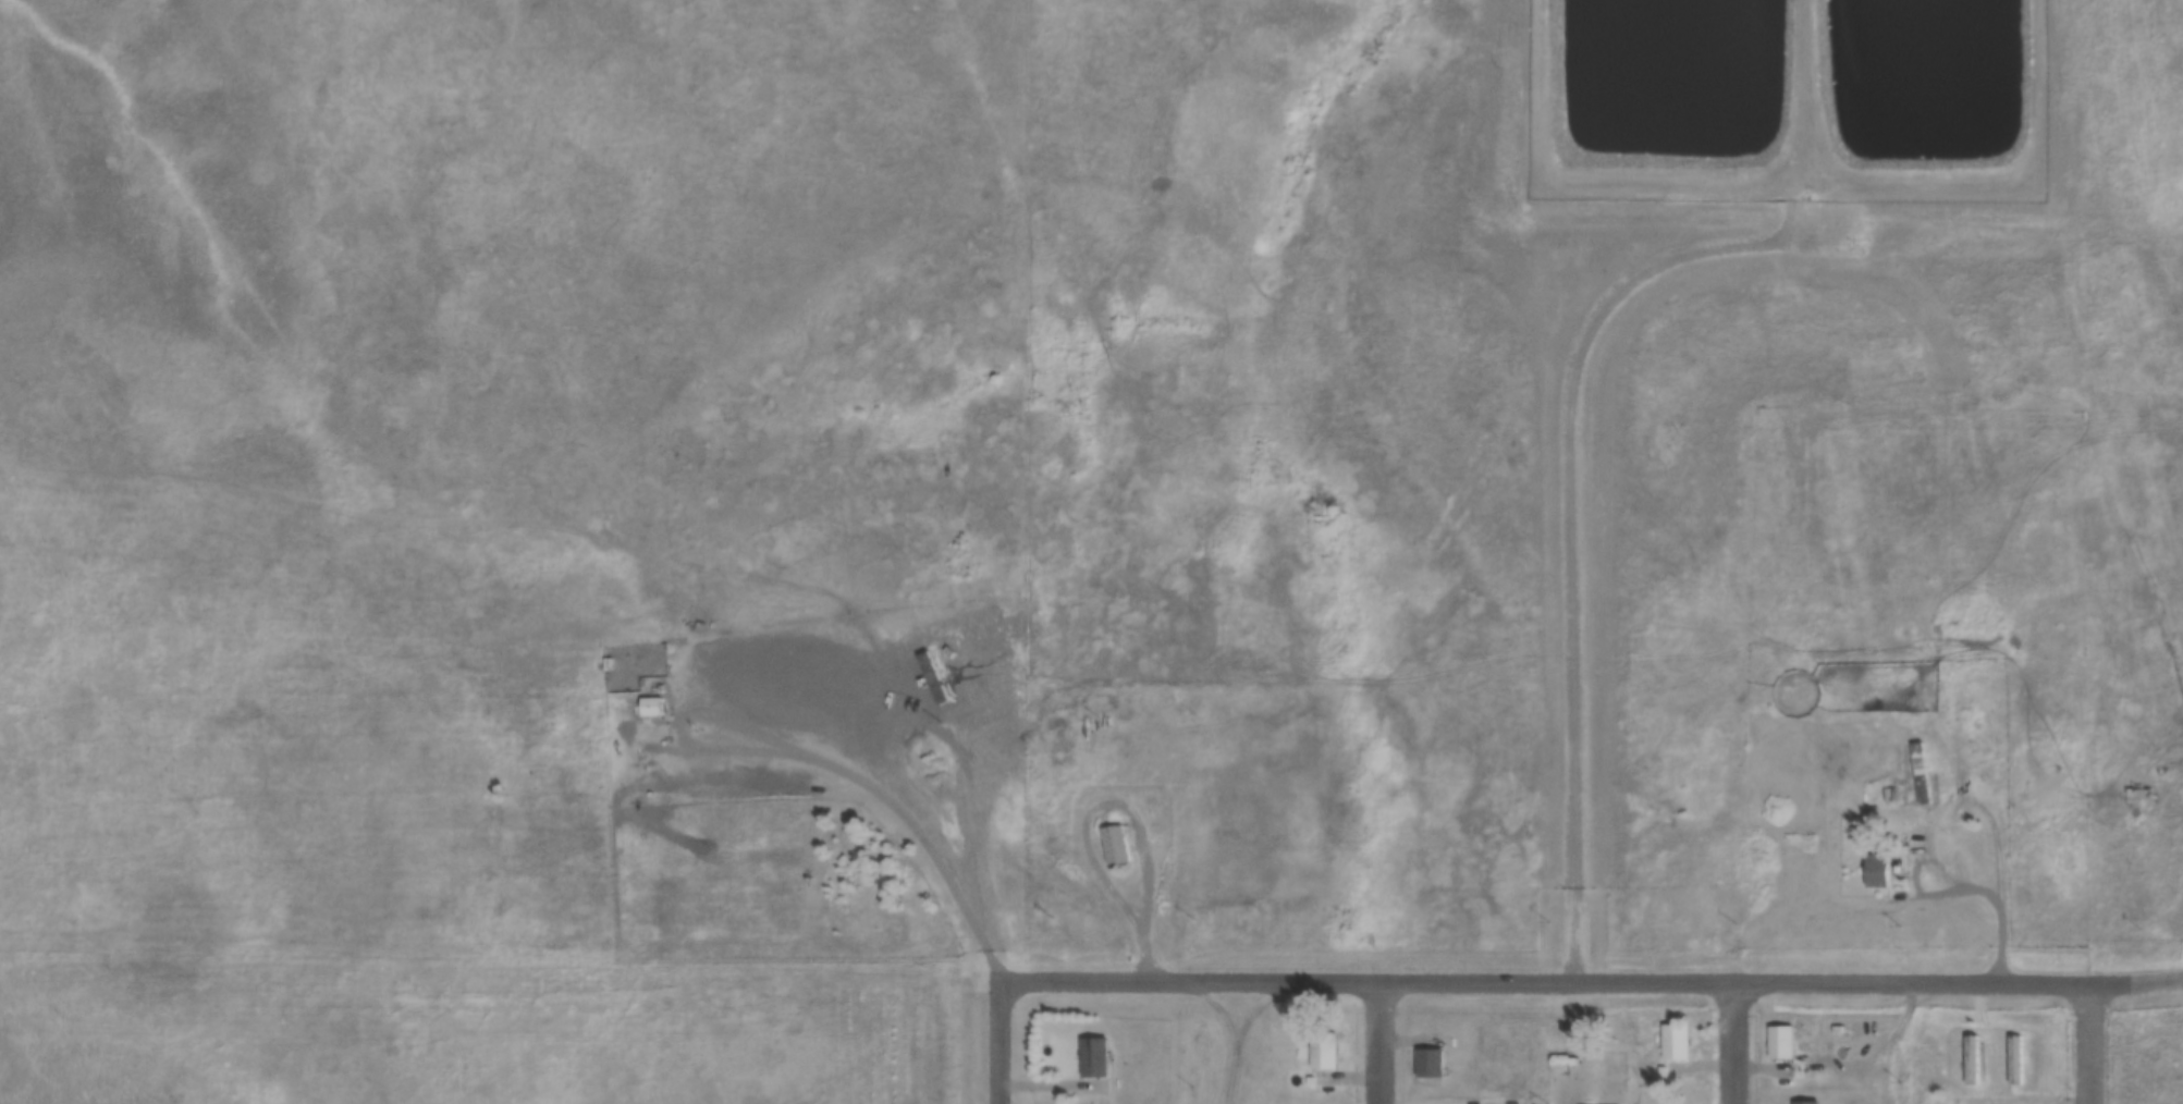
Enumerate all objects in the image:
road: (1556, 492)
building: (1962, 629)
building: (649, 707)
road: (821, 762)
road: (967, 784)
building: (1885, 792)
building: (1906, 792)
road: (1126, 811)
building: (1114, 845)
building: (1876, 872)
building: (1896, 874)
road: (1888, 905)
road: (2182, 981)
road: (1538, 985)
building: (1675, 1039)
building: (1780, 1040)
road: (1378, 1044)
road: (1730, 1044)
road: (2088, 1045)
building: (1323, 1050)
building: (1969, 1054)
building: (1093, 1056)
building: (2011, 1056)
building: (1428, 1062)
building: (1660, 1069)
building: (1309, 1080)
road: (1051, 1087)
building: (1935, 1097)
building: (1805, 1102)

